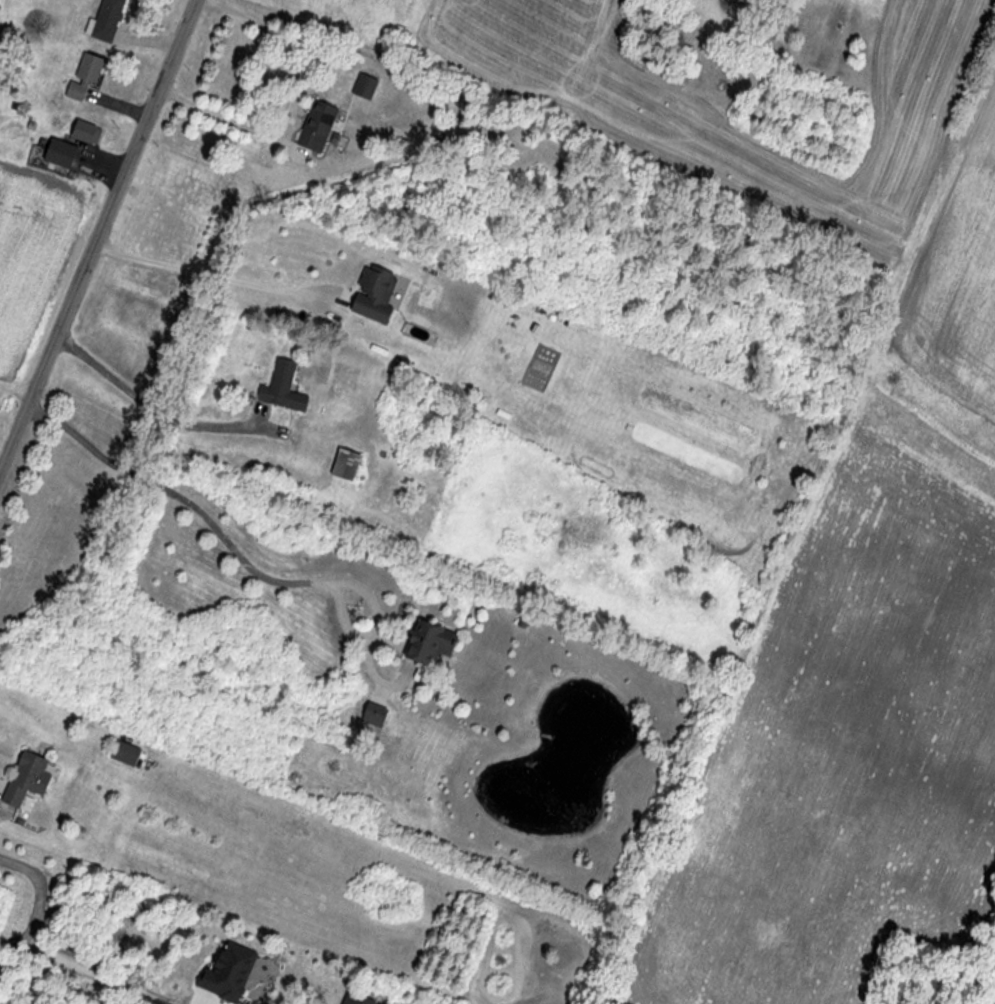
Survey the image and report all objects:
building: (106, 20)
building: (84, 76)
road: (293, 107)
building: (316, 126)
building: (84, 132)
building: (58, 154)
road: (100, 236)
road: (200, 277)
building: (373, 294)
crop: (956, 317)
building: (281, 388)
road: (14, 399)
road: (147, 408)
building: (343, 464)
road: (240, 556)
building: (427, 644)
building: (124, 754)
crop: (849, 754)
building: (25, 779)
road: (33, 957)

